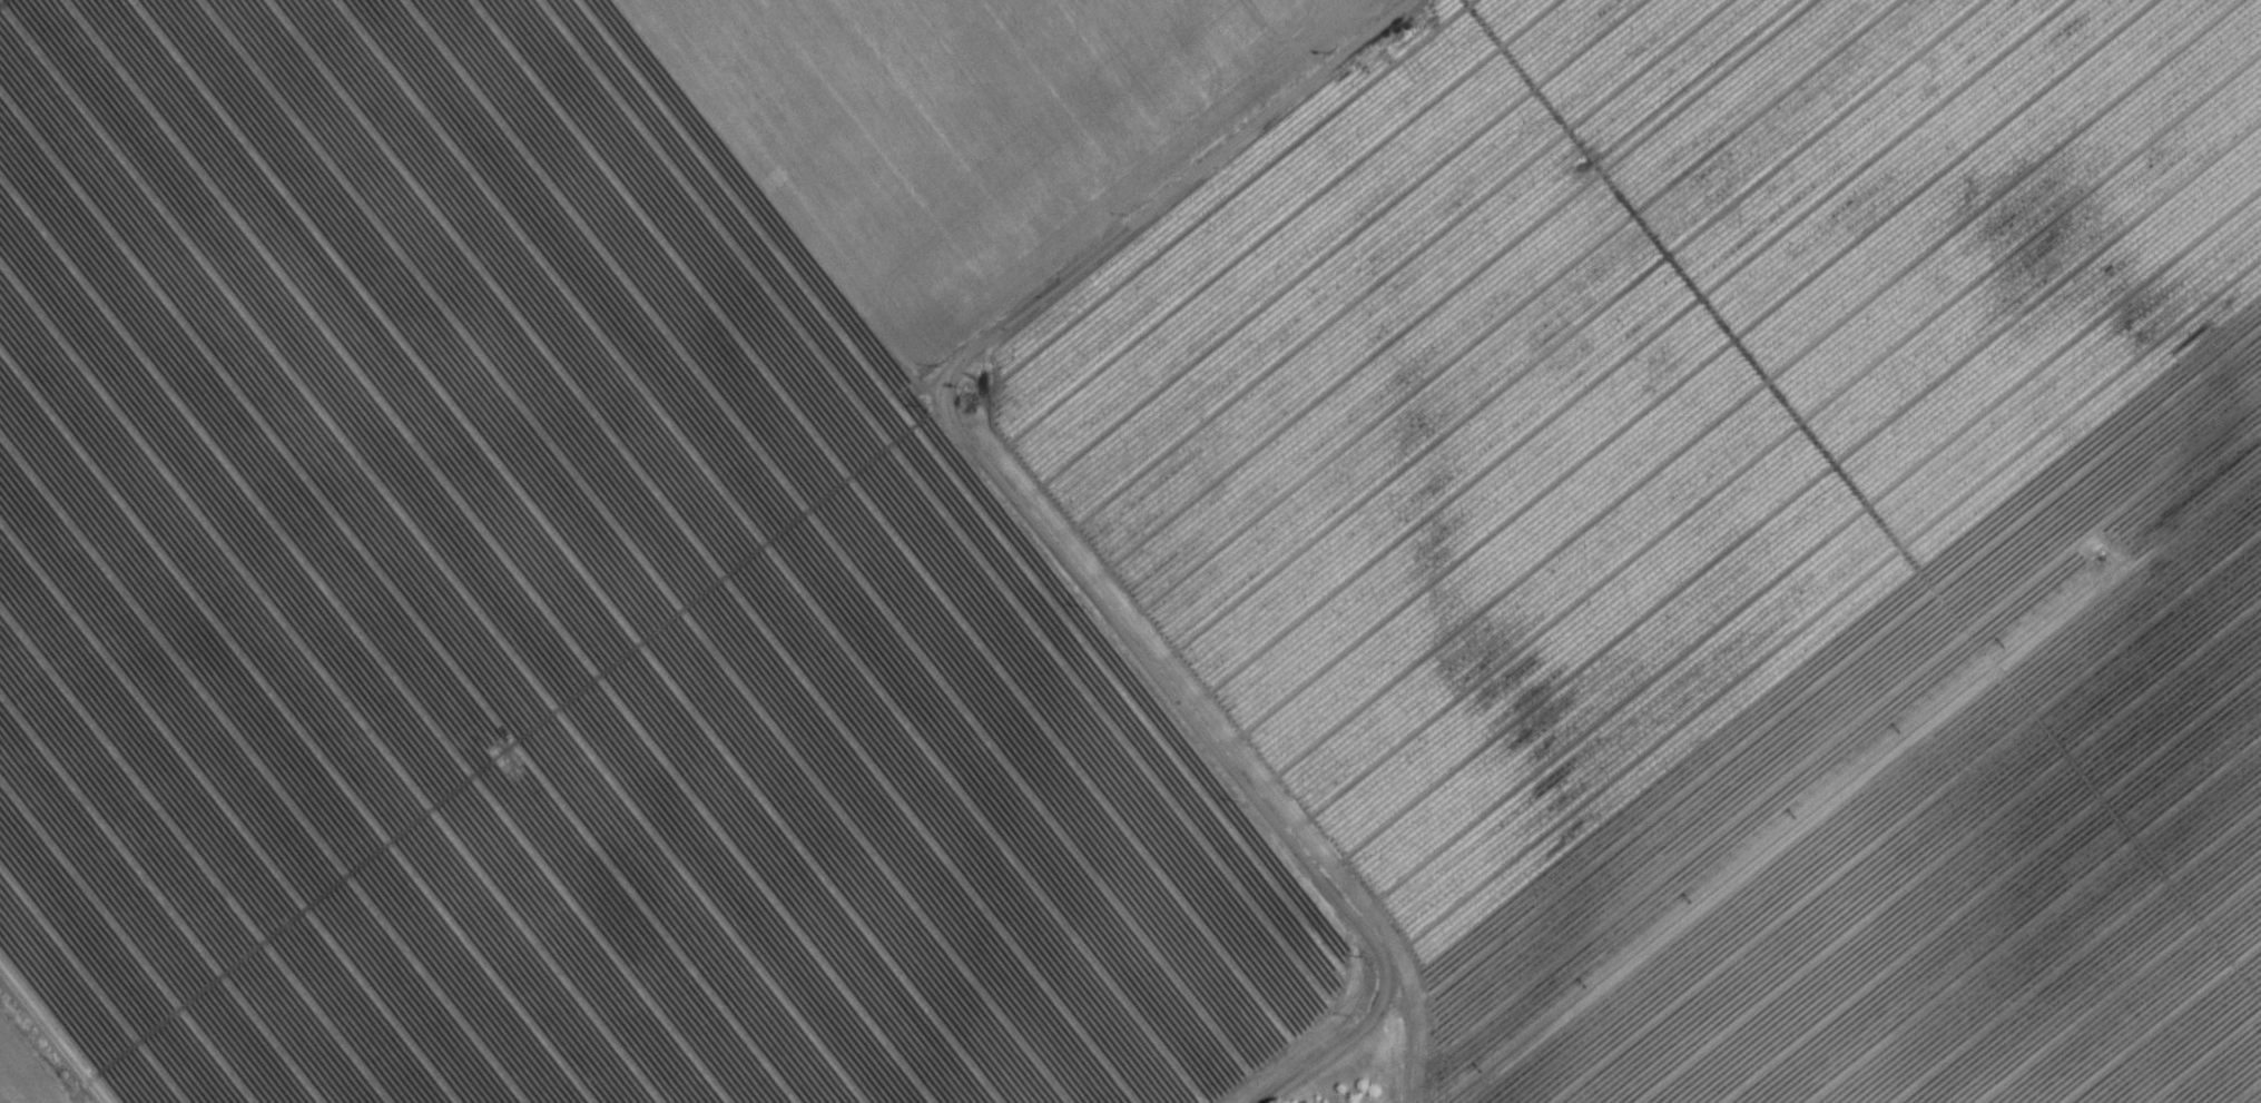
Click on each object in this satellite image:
road: (1036, 516)

